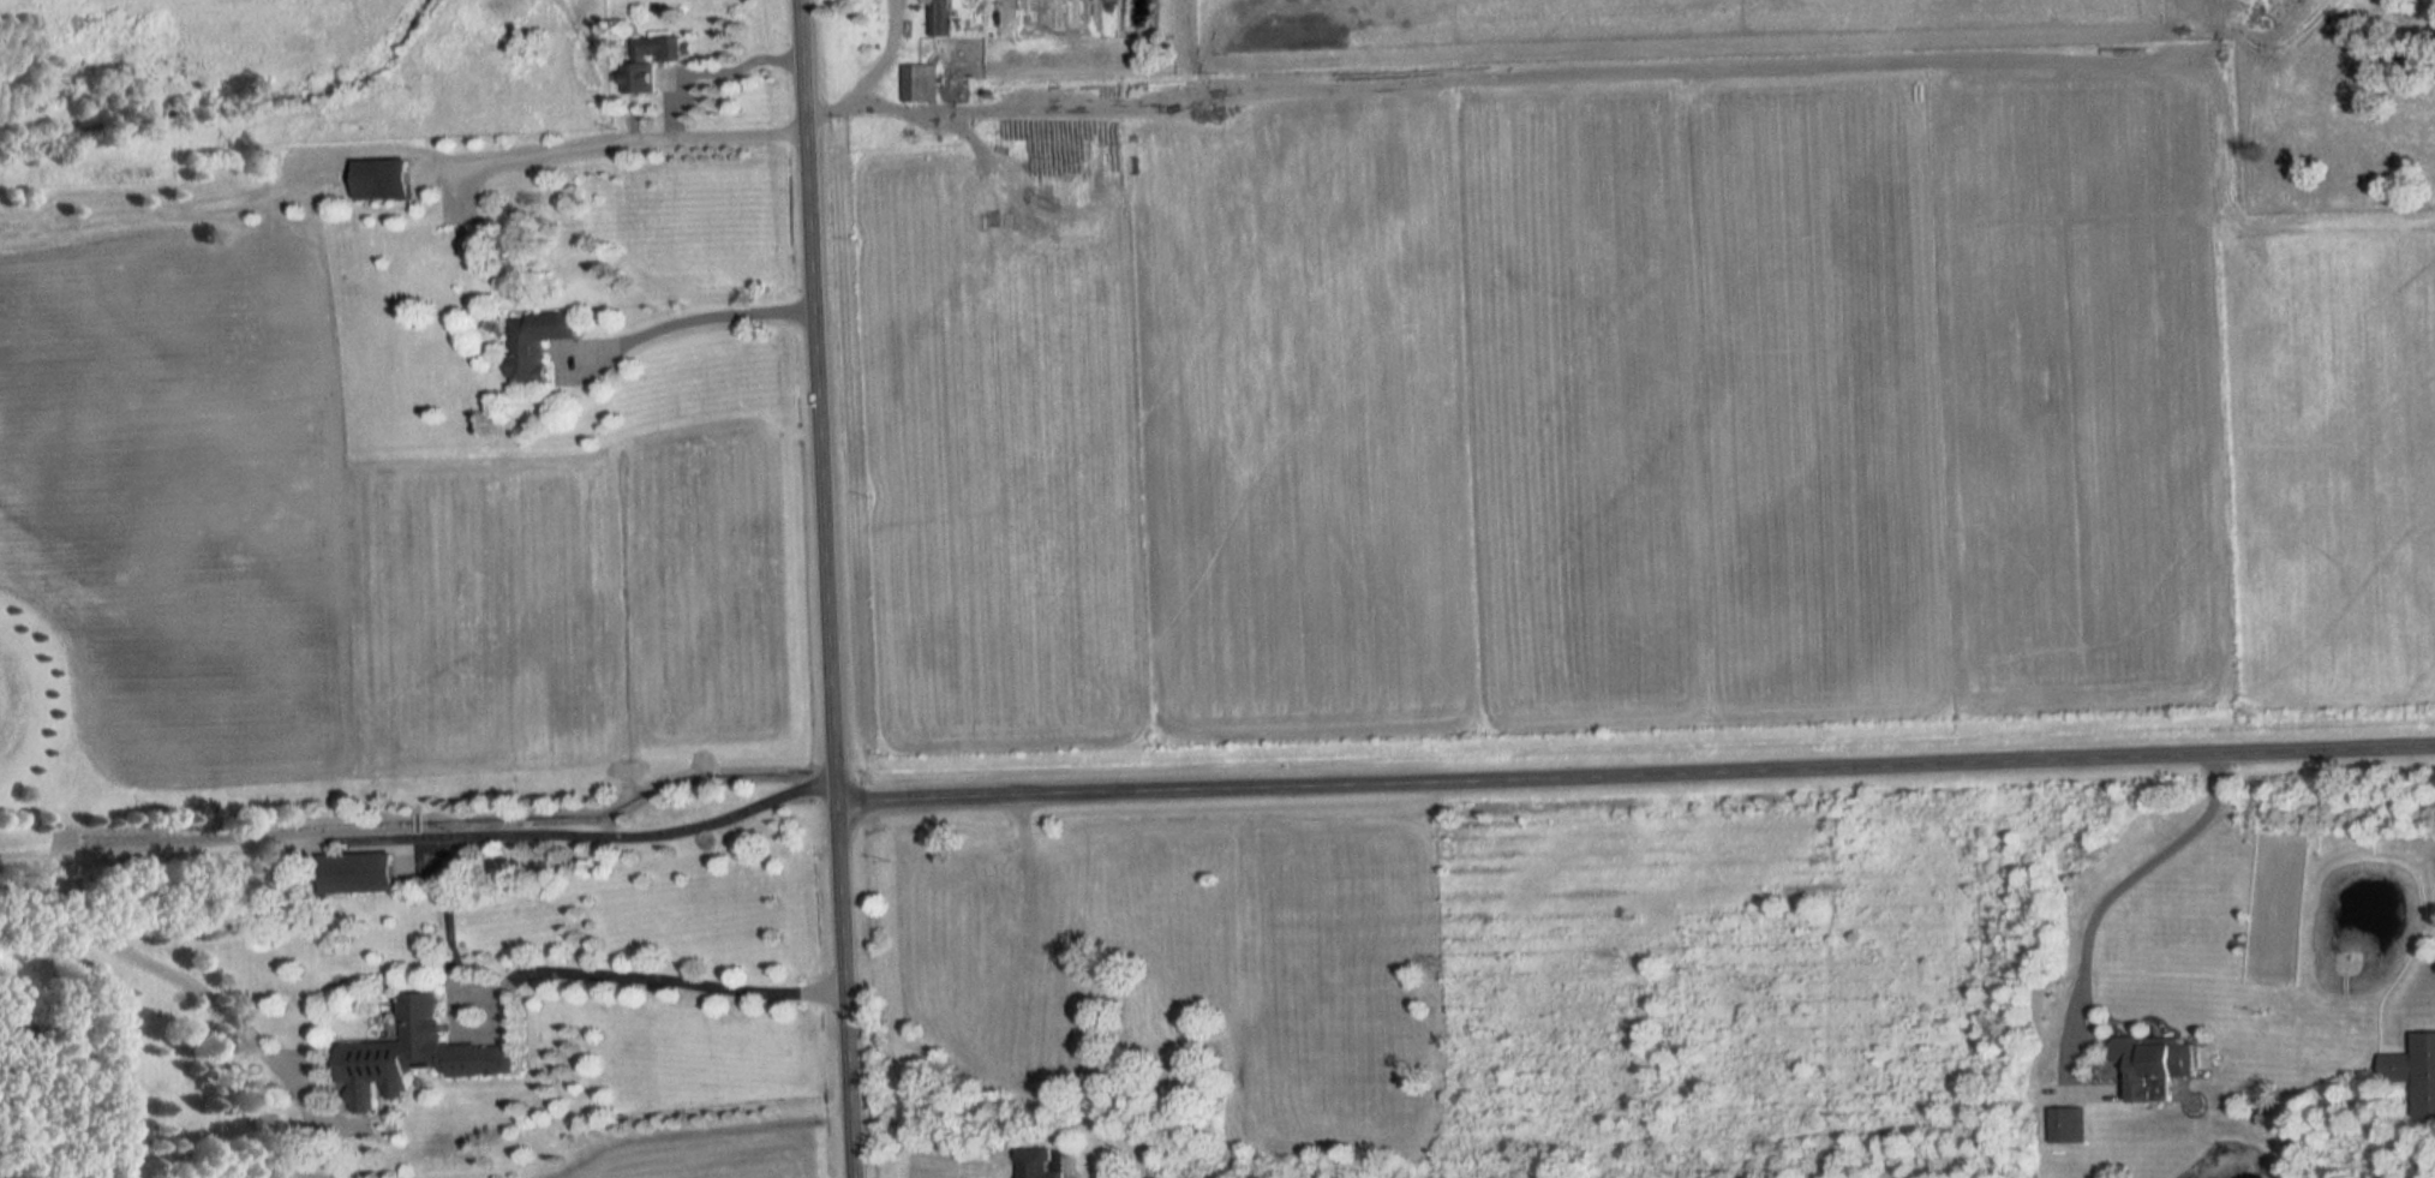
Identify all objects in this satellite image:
building: (937, 18)
road: (740, 60)
building: (648, 62)
road: (869, 74)
building: (919, 83)
road: (670, 103)
road: (626, 136)
building: (384, 180)
road: (688, 318)
building: (534, 343)
road: (826, 588)
road: (1635, 775)
road: (420, 831)
building: (357, 873)
road: (2111, 884)
road: (652, 979)
road: (187, 982)
building: (418, 1051)
building: (2158, 1068)
building: (2415, 1074)
building: (2068, 1125)
building: (1040, 1164)

